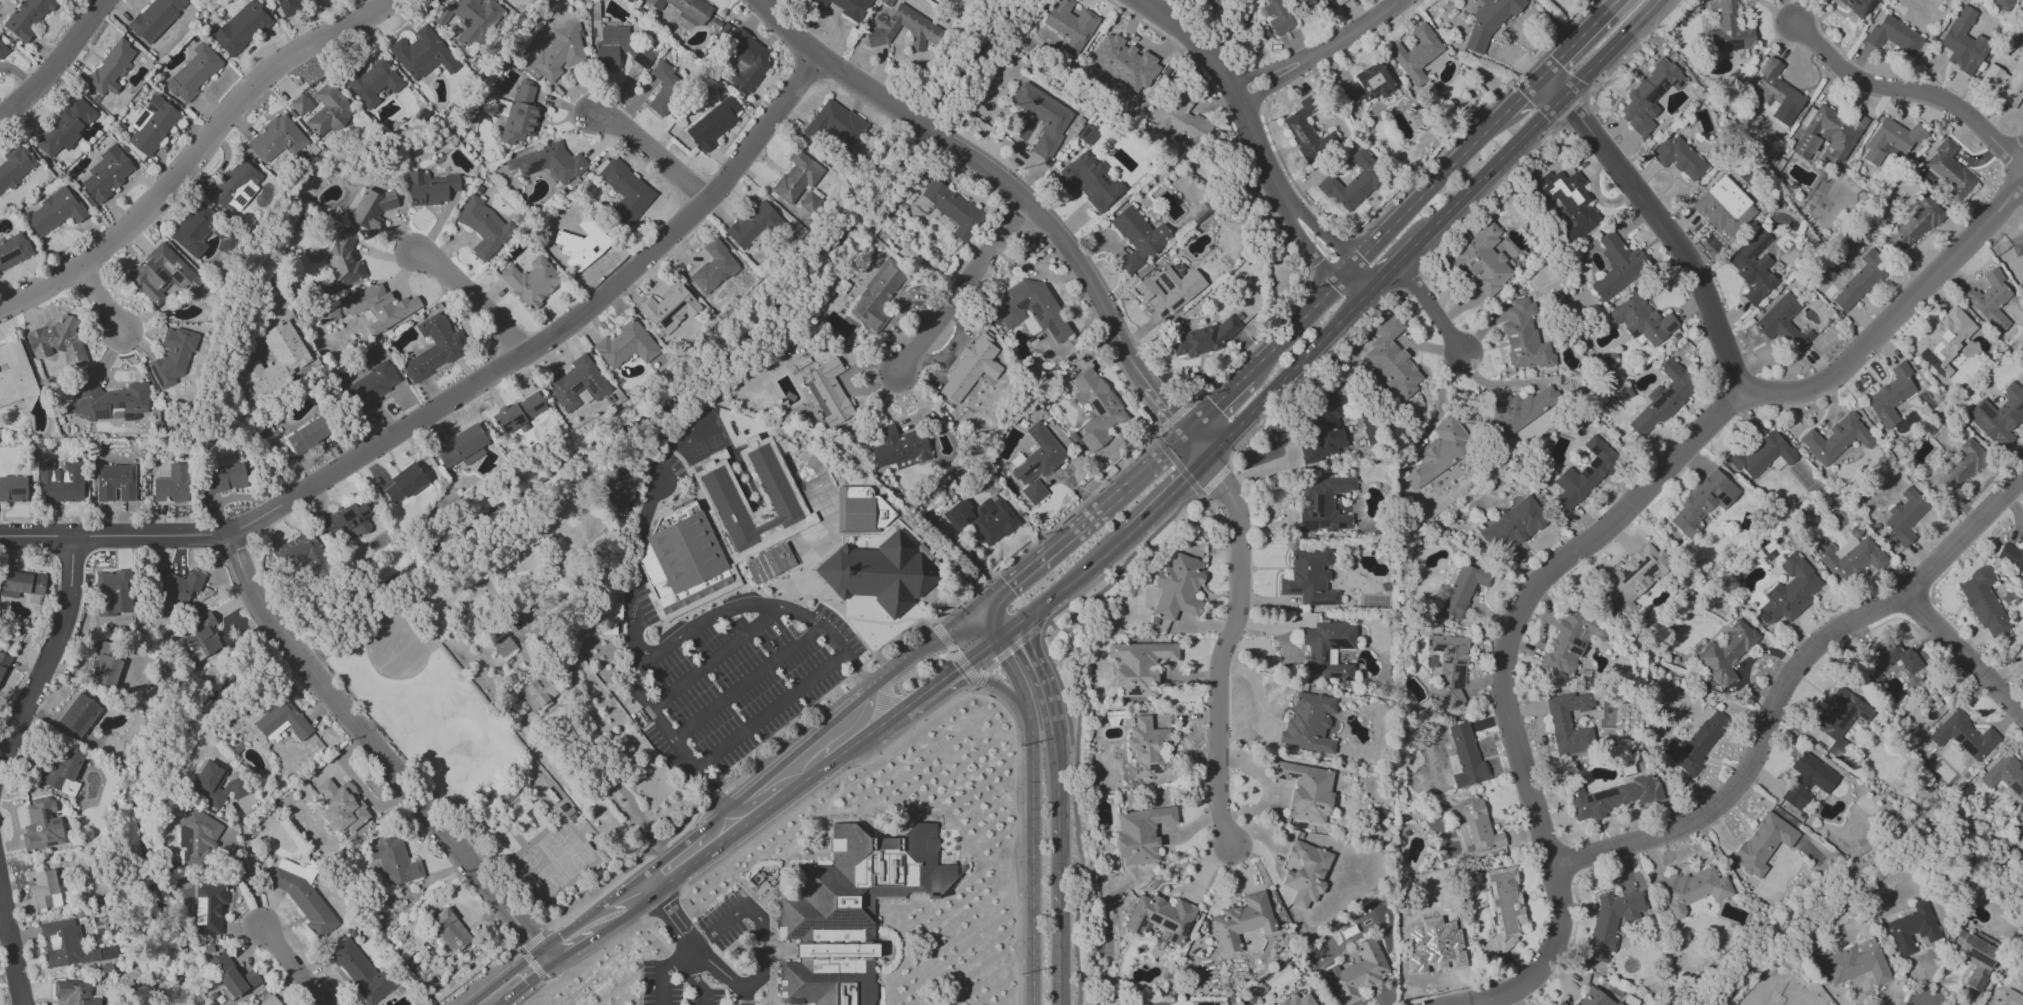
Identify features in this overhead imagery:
building: (1338, 1)
building: (2010, 2)
building: (1213, 3)
building: (1304, 3)
building: (290, 5)
building: (1858, 6)
building: (686, 9)
building: (27, 17)
building: (1278, 17)
building: (155, 18)
building: (469, 18)
building: (1489, 21)
building: (1070, 24)
building: (921, 27)
building: (241, 28)
building: (1728, 30)
rooftop solar panel: (1747, 32)
building: (1898, 35)
road: (1578, 38)
building: (1967, 41)
rooftop solar panel: (1736, 46)
road: (1629, 47)
building: (2, 49)
building: (617, 49)
road: (1609, 49)
road: (1320, 51)
building: (423, 54)
building: (1416, 54)
rooftop solar panel: (638, 59)
building: (746, 60)
building: (1125, 64)
road: (63, 66)
building: (111, 68)
building: (194, 72)
building: (372, 80)
road: (1230, 81)
building: (1368, 84)
building: (2008, 84)
building: (665, 87)
road: (1550, 87)
road: (1909, 89)
rooftop solar panel: (1658, 92)
building: (1774, 93)
road: (1523, 94)
building: (1649, 96)
building: (300, 104)
rooftop solar panel: (150, 107)
building: (328, 111)
building: (521, 114)
road: (1570, 114)
building: (1043, 118)
rooftop solar panel: (139, 119)
road: (1468, 120)
rooftop solar panel: (80, 123)
building: (712, 124)
building: (834, 124)
building: (152, 125)
building: (62, 126)
rooftop solar panel: (1635, 128)
rooftop solar panel: (1295, 129)
rooftop solar panel: (63, 131)
building: (1307, 132)
building: (1834, 133)
building: (1087, 135)
building: (1893, 137)
building: (276, 139)
rooftop solar panel: (1300, 140)
road: (654, 154)
building: (1679, 157)
road: (199, 158)
building: (548, 162)
building: (1952, 165)
building: (14, 166)
rooftop solar panel: (532, 166)
road: (1490, 172)
building: (106, 174)
building: (797, 177)
building: (1089, 182)
building: (1353, 183)
road: (1431, 186)
building: (234, 187)
building: (429, 188)
building: (624, 190)
road: (1485, 194)
road: (1019, 196)
building: (809, 202)
building: (1570, 202)
building: (1723, 205)
building: (372, 208)
building: (952, 209)
building: (54, 212)
road: (1318, 223)
building: (754, 225)
building: (1911, 226)
building: (483, 227)
building: (194, 229)
road: (1671, 236)
building: (1138, 238)
road: (1301, 239)
building: (580, 246)
building: (2017, 249)
building: (13, 250)
road: (1409, 254)
rooftop solar panel: (8, 256)
road: (1330, 256)
rooftop solar panel: (1749, 256)
building: (344, 261)
building: (1483, 261)
rooftop solar panel: (1734, 261)
building: (1618, 266)
building: (1755, 266)
rooftop solar panel: (169, 268)
building: (713, 268)
rooftop solar panel: (157, 270)
road: (1348, 271)
road: (1369, 271)
road: (1391, 272)
building: (161, 275)
road: (1407, 275)
rooftop solar panel: (163, 276)
building: (531, 281)
building: (1861, 282)
building: (1170, 287)
road: (962, 292)
road: (1349, 293)
road: (1371, 293)
building: (877, 295)
building: (1993, 300)
road: (477, 302)
road: (103, 305)
building: (377, 307)
building: (669, 309)
building: (1031, 309)
road: (1434, 310)
rooftop solar panel: (1034, 311)
building: (1642, 320)
building: (1783, 324)
road: (1293, 328)
rooftop solar panel: (1050, 329)
rooftop solar panel: (1647, 333)
building: (1205, 338)
building: (1523, 338)
building: (58, 342)
building: (1944, 343)
road: (1256, 344)
building: (625, 345)
building: (434, 348)
building: (173, 356)
rooftop solar panel: (1926, 357)
building: (276, 359)
building: (1392, 359)
building: (969, 369)
road: (1306, 372)
building: (16, 375)
building: (577, 383)
road: (1283, 383)
road: (721, 384)
building: (370, 387)
rooftop solar panel: (576, 387)
rooftop solar panel: (591, 388)
building: (829, 392)
building: (1890, 396)
road: (457, 398)
rooftop solar panel: (1662, 398)
building: (1662, 399)
building: (111, 401)
road: (1217, 404)
rooftop solar panel: (2021, 404)
rooftop solar panel: (121, 405)
rooftop solar panel: (1093, 408)
building: (1096, 409)
building: (1517, 410)
rooftop solar panel: (1985, 411)
building: (518, 412)
rooftop solar panel: (101, 415)
building: (2002, 416)
rooftop solar panel: (1983, 421)
building: (1324, 428)
building: (1841, 433)
traffic signals: (1187, 435)
building: (307, 436)
rooftop solar panel: (1040, 439)
rooftop solar panel: (1036, 440)
building: (463, 447)
building: (899, 448)
building: (1439, 451)
building: (1759, 457)
rooftop solar panel: (885, 459)
building: (1037, 463)
road: (1175, 463)
traffic signals: (1207, 463)
building: (1960, 468)
parking lot: (677, 469)
building: (1584, 474)
building: (224, 478)
road: (1135, 478)
building: (60, 482)
building: (115, 482)
building: (404, 483)
building: (172, 485)
building: (13, 489)
building: (621, 489)
building: (776, 490)
rooftop solar panel: (13, 492)
road: (1167, 498)
rooftop solar panel: (1027, 499)
building: (1702, 502)
building: (1322, 505)
building: (863, 512)
building: (1903, 517)
building: (983, 518)
building: (345, 523)
rooftop solar panel: (1321, 524)
rooftop solar panel: (1308, 526)
building: (1512, 526)
road: (1044, 532)
road: (1604, 532)
building: (301, 554)
building: (1849, 557)
building: (2012, 557)
road: (1037, 560)
building: (770, 563)
building: (684, 564)
building: (881, 574)
building: (1636, 576)
building: (1309, 578)
building: (21, 584)
traffic signals: (1010, 584)
road: (1073, 585)
building: (176, 586)
building: (1178, 588)
building: (1463, 588)
building: (1791, 590)
rooftop solar panel: (1295, 591)
building: (112, 593)
road: (1073, 599)
building: (1983, 602)
rooftop solar panel: (1321, 603)
parking lot: (646, 604)
road: (760, 605)
road: (981, 607)
building: (609, 615)
road: (1004, 618)
road: (859, 619)
road: (1058, 627)
building: (870, 629)
road: (985, 633)
road: (635, 634)
building: (203, 637)
building: (1569, 641)
rooftop solar panel: (194, 644)
road: (1008, 644)
rooftop solar panel: (1575, 644)
building: (503, 646)
rooftop solar panel: (1581, 647)
park: (396, 648)
building: (1327, 649)
road: (1010, 650)
traffic signals: (1025, 650)
rooftop solar panel: (1576, 653)
building: (1725, 653)
road: (956, 654)
road: (1223, 654)
road: (717, 656)
road: (1965, 660)
building: (1887, 662)
building: (3, 664)
road: (50, 664)
building: (106, 666)
building: (1139, 666)
road: (970, 670)
building: (1448, 671)
traffic signals: (961, 677)
road: (1015, 677)
road: (988, 679)
road: (1054, 682)
road: (746, 683)
road: (1040, 685)
parking lot: (742, 688)
road: (1788, 689)
rooftop solar panel: (1133, 692)
building: (537, 693)
rooftop solar panel: (1441, 693)
rooftop solar panel: (1434, 699)
road: (925, 703)
rooftop solar panel: (1445, 703)
road: (770, 712)
building: (79, 714)
park: (434, 714)
rooftop solar panel: (1845, 715)
rooftop solar panel: (1863, 716)
road: (1078, 717)
building: (1838, 718)
building: (282, 721)
building: (1308, 723)
road: (837, 724)
building: (1569, 724)
building: (1963, 736)
road: (871, 742)
building: (1697, 743)
road: (677, 746)
building: (1148, 751)
road: (377, 752)
building: (1465, 757)
park: (471, 766)
rooftop solar panel: (1154, 770)
building: (62, 772)
road: (744, 773)
rooftop solar panel: (1292, 775)
building: (2005, 775)
building: (1807, 781)
road: (824, 782)
building: (214, 785)
building: (1306, 793)
rooftop solar panel: (1605, 793)
building: (509, 794)
building: (1612, 797)
building: (342, 806)
road: (853, 814)
road: (1055, 822)
road: (865, 824)
road: (903, 824)
building: (42, 825)
building: (1474, 827)
road: (746, 831)
building: (1141, 834)
building: (197, 836)
building: (2018, 837)
building: (1763, 843)
road: (1033, 856)
road: (674, 857)
building: (394, 861)
park: (553, 861)
road: (251, 866)
building: (1304, 873)
road: (733, 876)
building: (44, 889)
building: (1691, 890)
road: (758, 892)
road: (0, 893)
building: (303, 895)
road: (663, 905)
building: (208, 908)
building: (1503, 909)
building: (853, 911)
road: (593, 915)
road: (626, 915)
road: (759, 919)
building: (1161, 919)
rooftop solar panel: (1155, 920)
building: (1242, 921)
building: (1611, 921)
parking lot: (723, 923)
rooftop solar panel: (845, 924)
rooftop solar panel: (810, 925)
rooftop solar panel: (1138, 925)
rooftop solar panel: (1168, 926)
rooftop solar panel: (1186, 927)
building: (1912, 928)
building: (449, 930)
road: (692, 939)
building: (1250, 941)
rooftop solar panel: (53, 942)
road: (580, 942)
building: (68, 945)
road: (11, 946)
road: (773, 946)
road: (596, 947)
road: (521, 951)
road: (554, 952)
rooftop solar panel: (1602, 953)
road: (1056, 956)
building: (1976, 956)
building: (1853, 963)
road: (296, 966)
road: (666, 969)
building: (361, 972)
road: (523, 972)
building: (1357, 973)
building: (232, 975)
road: (697, 979)
road: (1025, 981)
rooftop solar panel: (1333, 982)
road: (885, 986)
parking lot: (681, 987)
road: (530, 991)
building: (75, 993)
building: (1793, 995)
road: (492, 996)
building: (1595, 997)
road: (745, 999)
building: (2008, 999)
building: (1296, 1000)
building: (269, 1001)
road: (776, 1002)
building: (1561, 1003)
road: (803, 1004)

